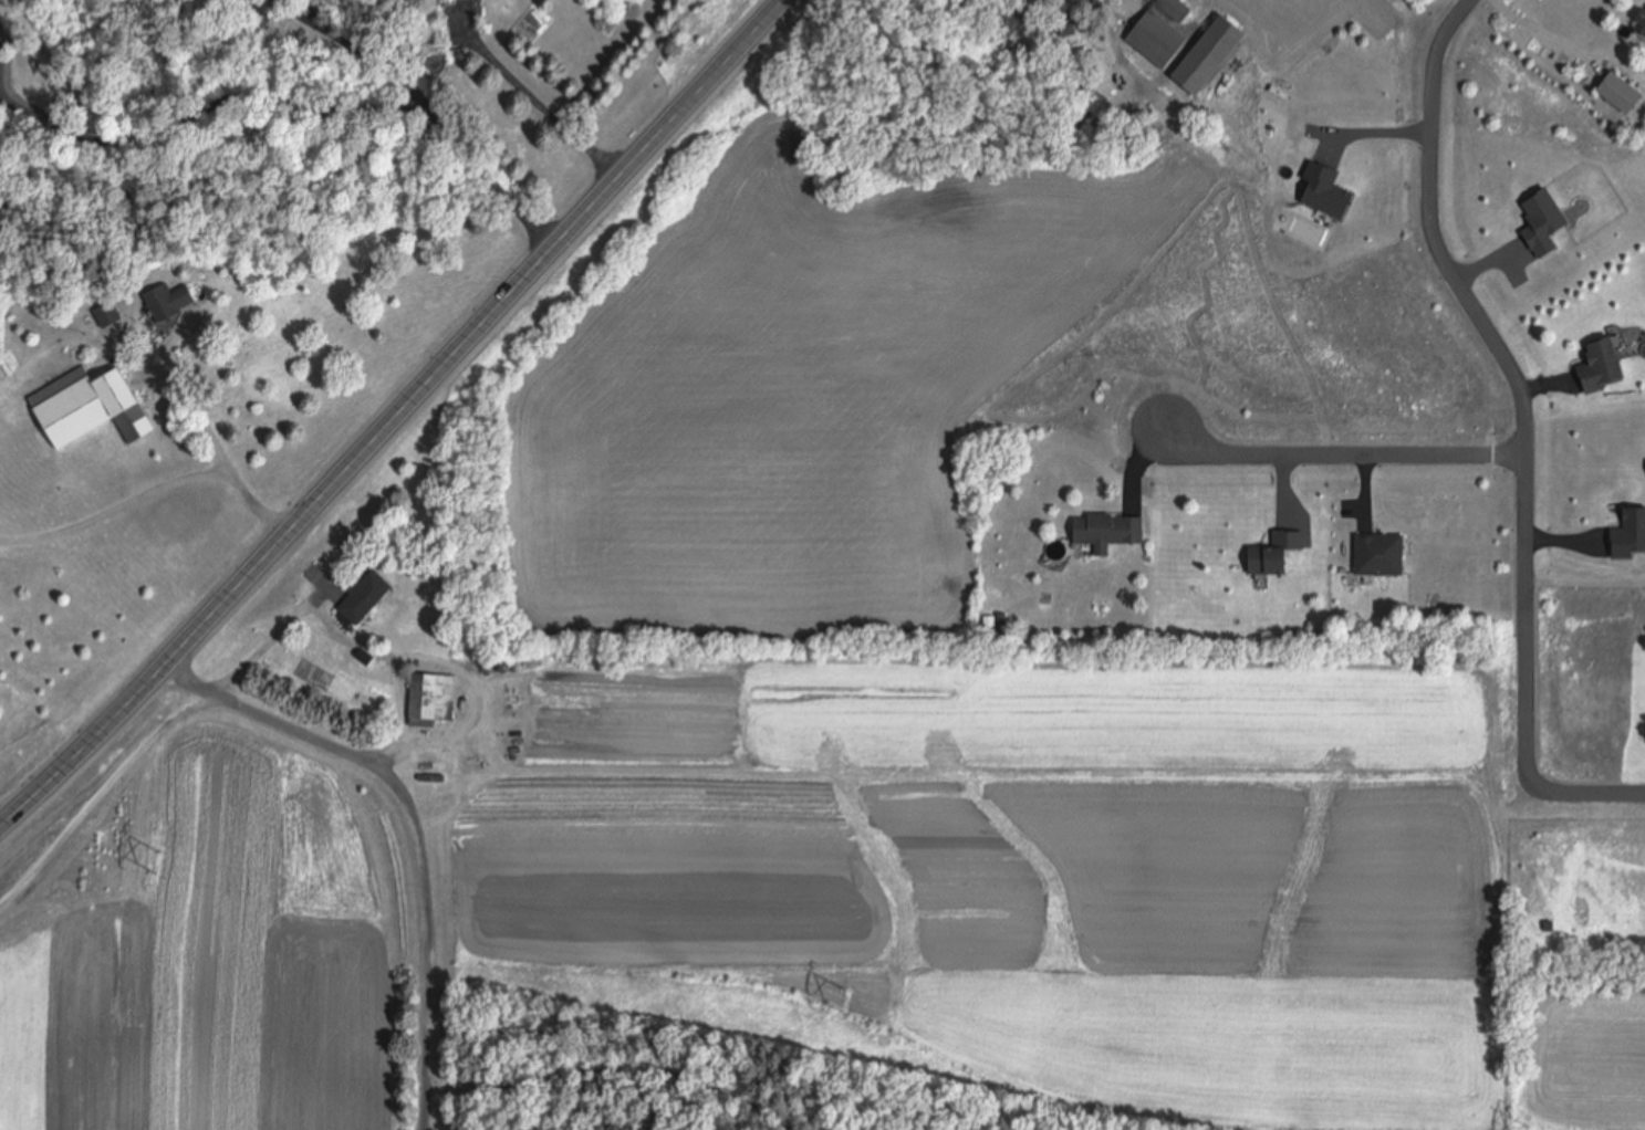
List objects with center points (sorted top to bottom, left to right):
building: (1176, 9)
building: (1636, 23)
building: (1159, 39)
road: (294, 52)
building: (1215, 55)
building: (1611, 94)
road: (542, 95)
building: (175, 299)
building: (108, 316)
road: (139, 347)
building: (1602, 365)
road: (1512, 372)
building: (92, 408)
road: (399, 420)
road: (206, 429)
road: (1341, 456)
road: (118, 508)
building: (1111, 535)
building: (1278, 553)
building: (1383, 556)
road: (1584, 583)
building: (368, 598)
building: (434, 700)
road: (1582, 791)
road: (418, 825)
power tower: (150, 864)
power tower: (840, 1000)

